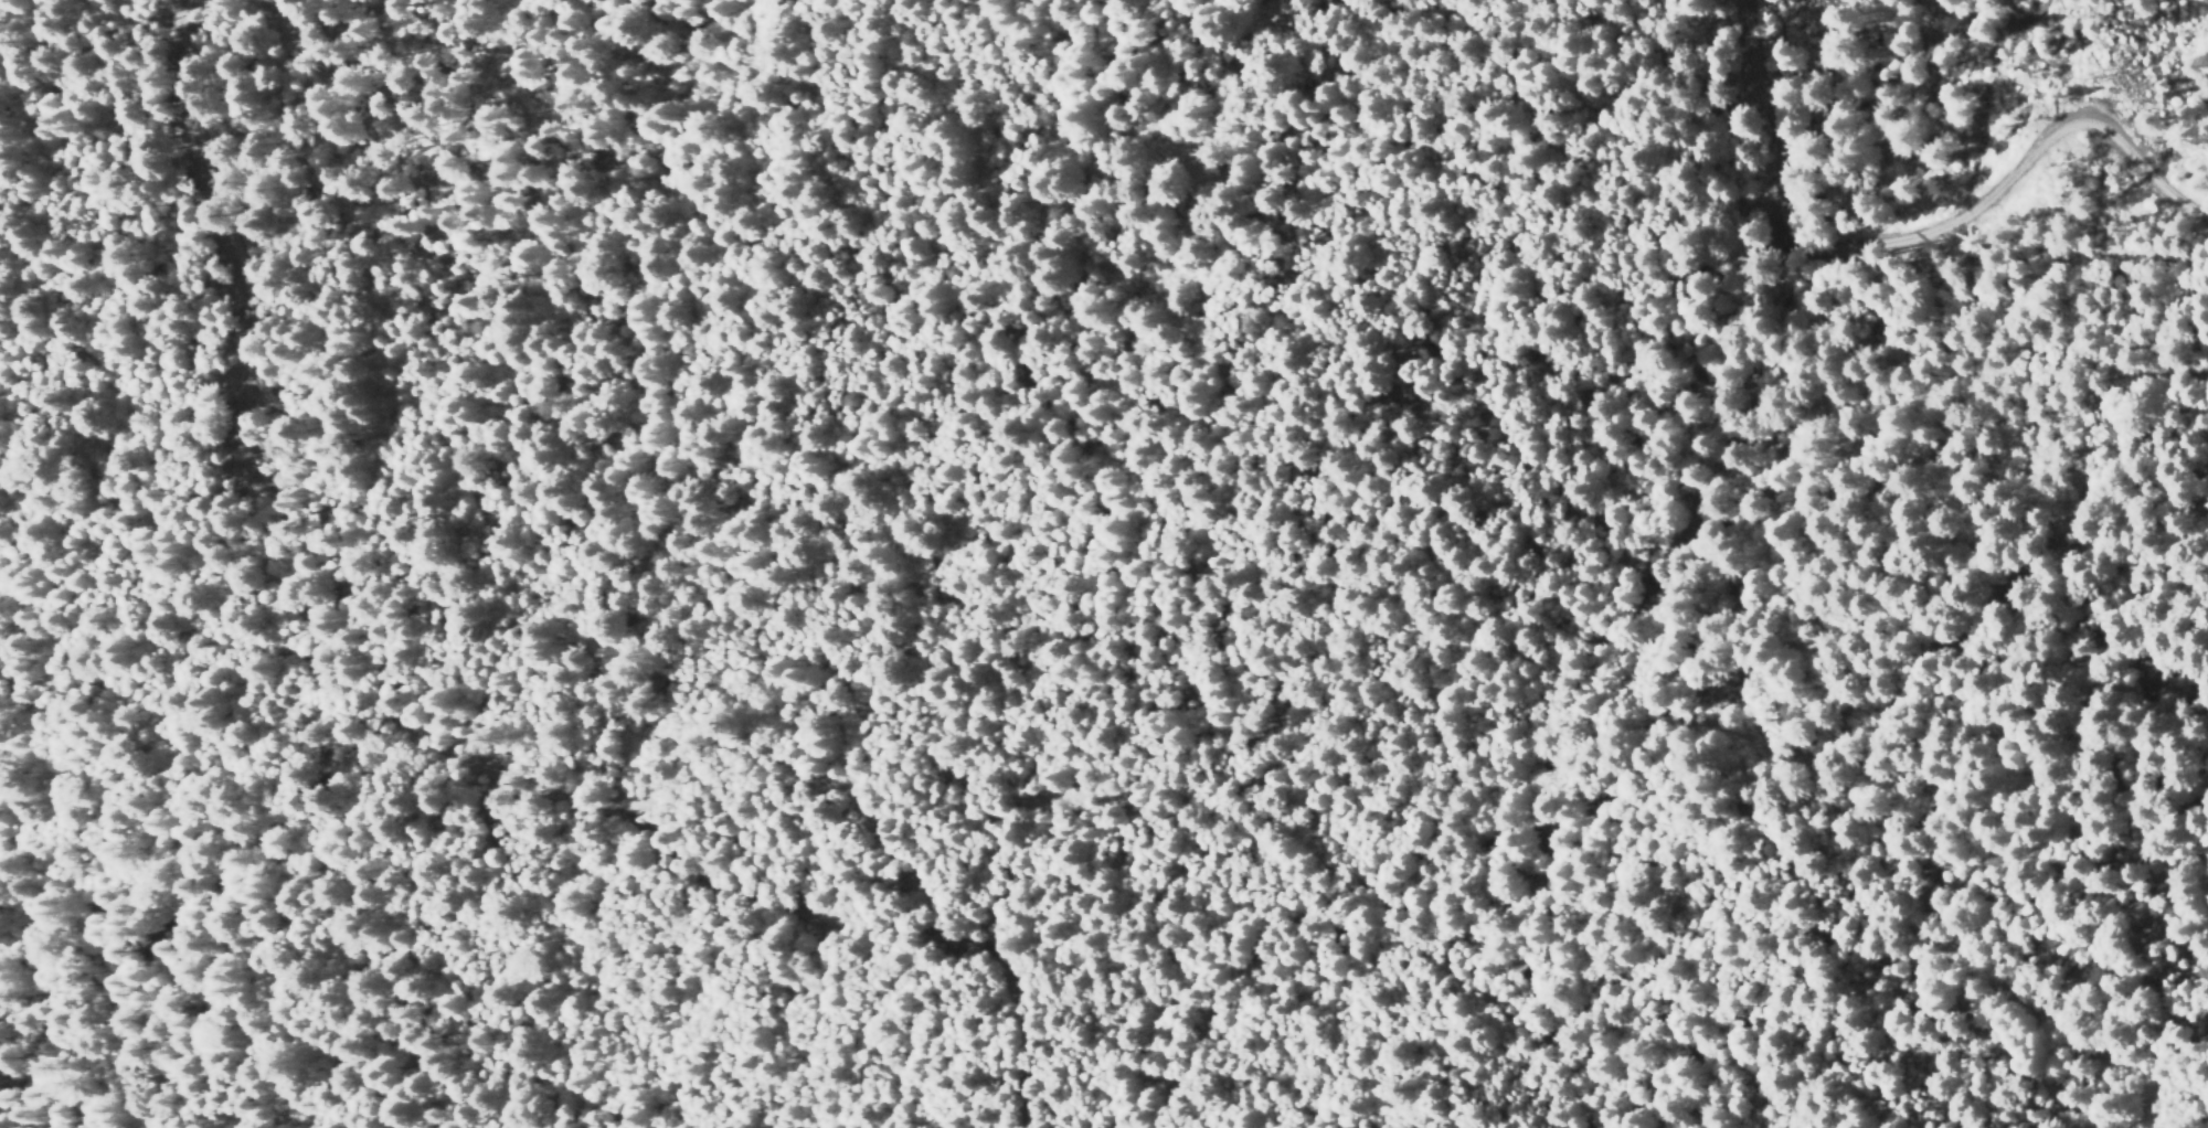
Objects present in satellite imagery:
road: (1975, 689)

